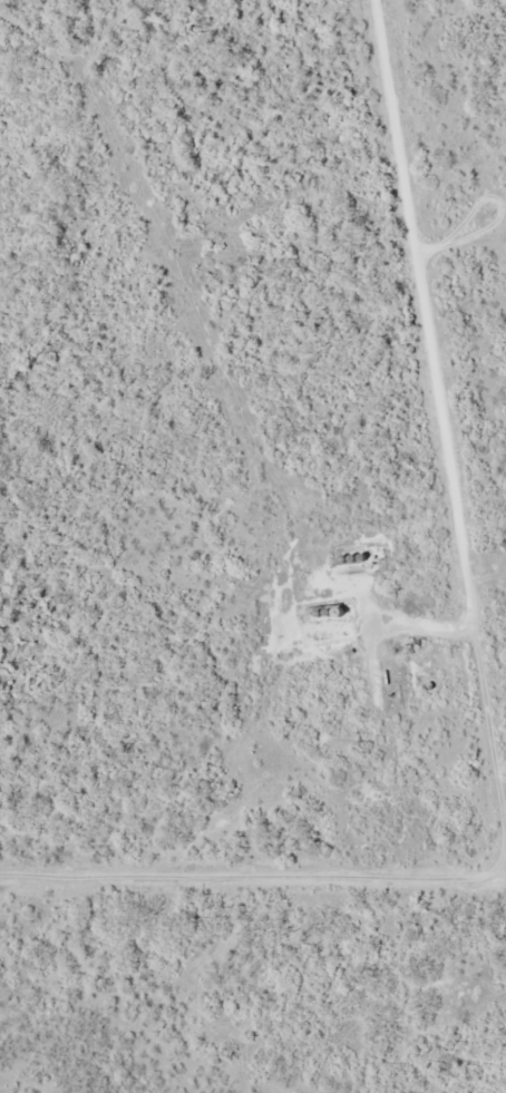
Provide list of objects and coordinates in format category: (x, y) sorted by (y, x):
building: (373, 552)
silo: (373, 552)
road: (449, 650)

